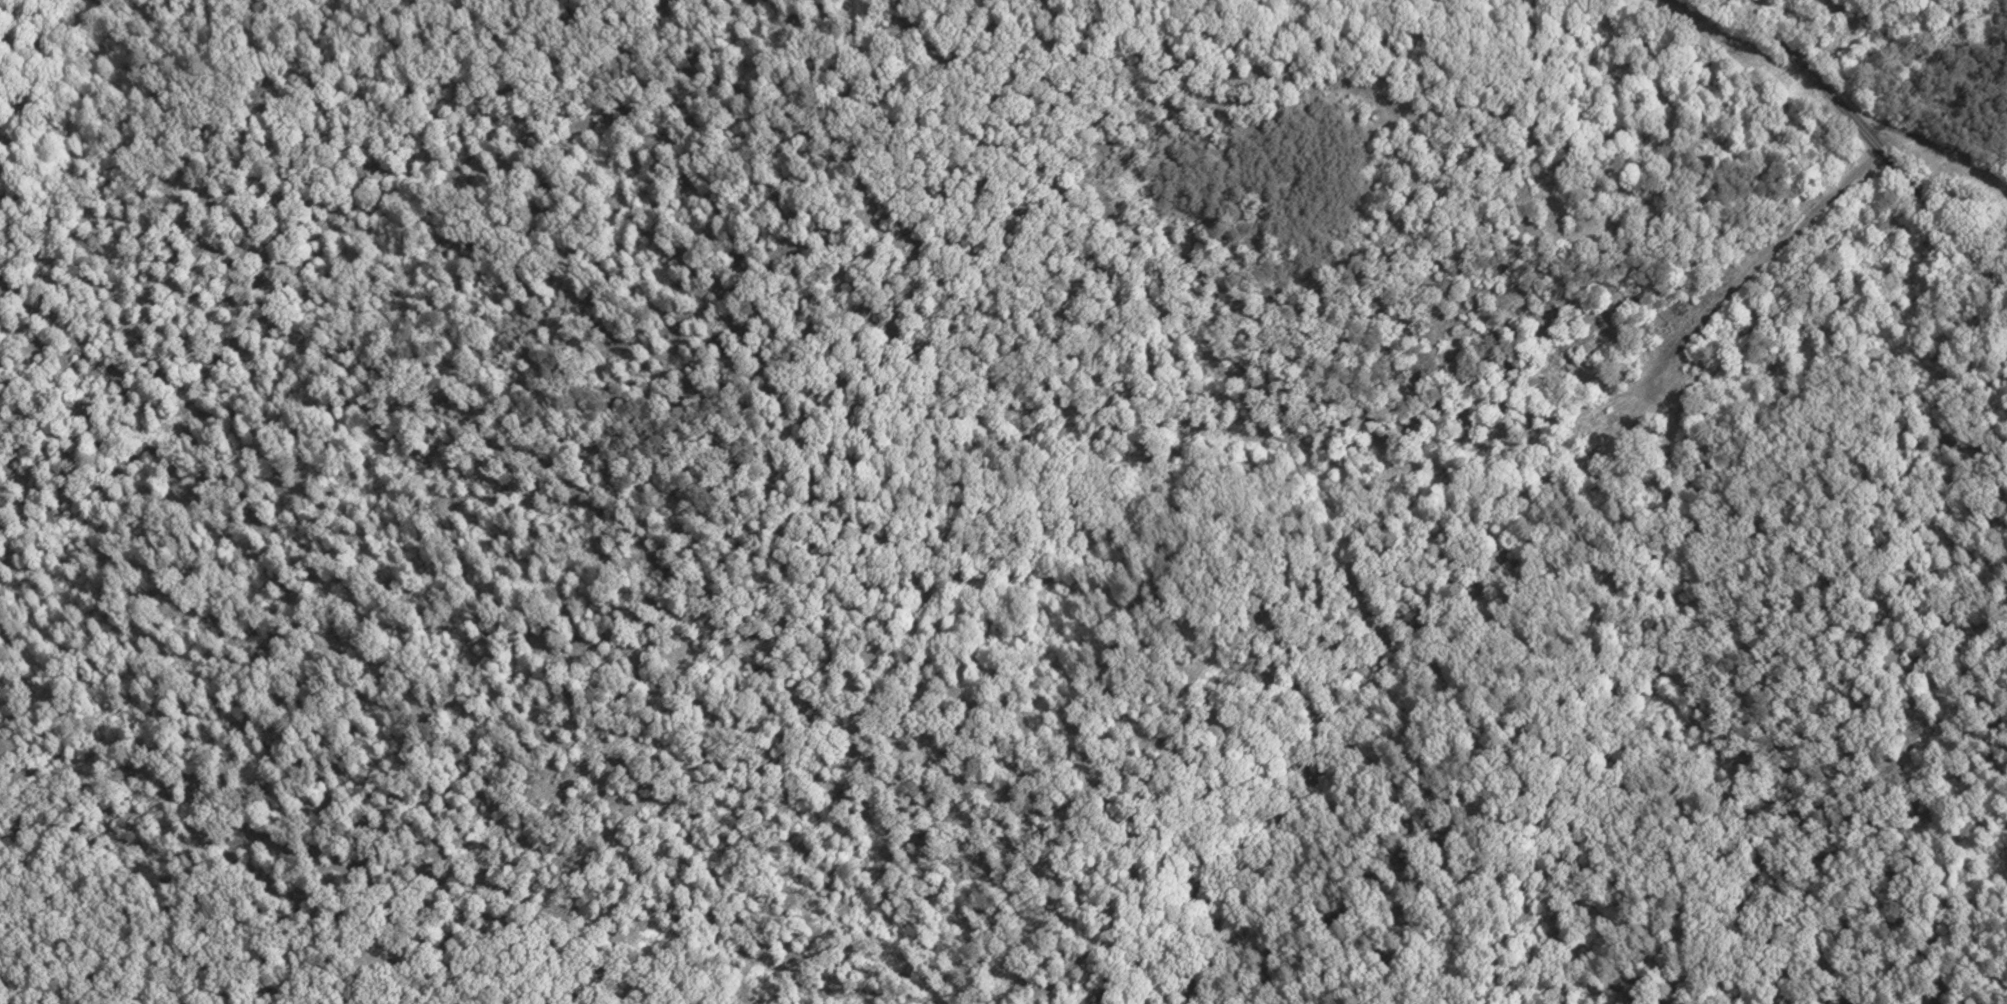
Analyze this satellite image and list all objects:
road: (1870, 137)

